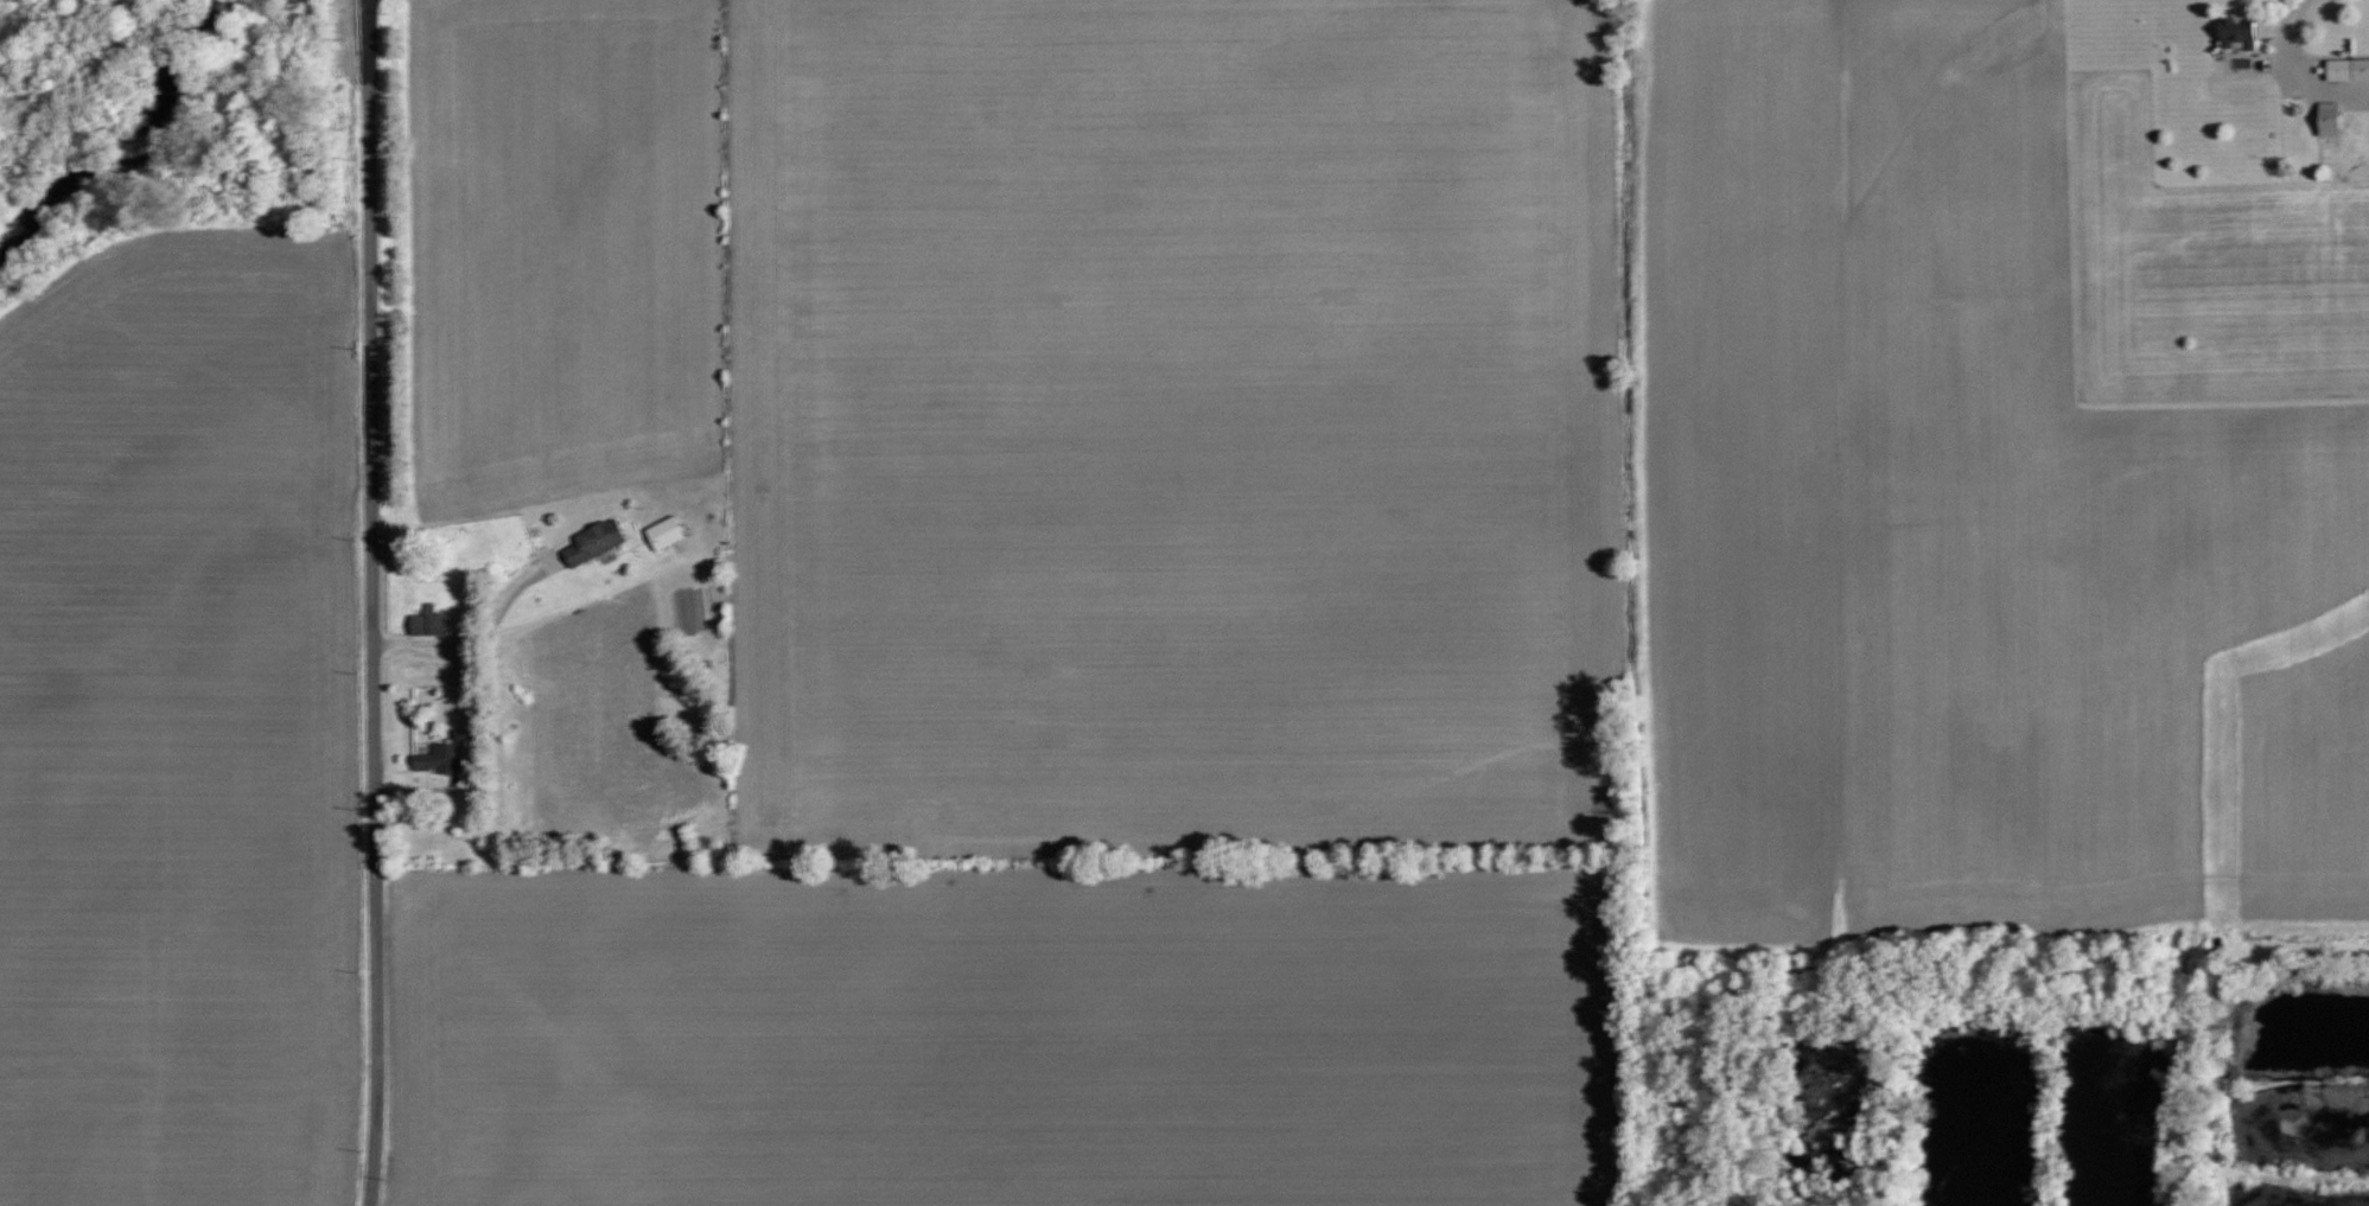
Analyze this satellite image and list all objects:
building: (2239, 38)
building: (2348, 68)
road: (2288, 75)
building: (2354, 95)
building: (2329, 117)
building: (664, 532)
building: (594, 541)
road: (370, 602)
building: (427, 624)
road: (480, 631)
building: (439, 759)

